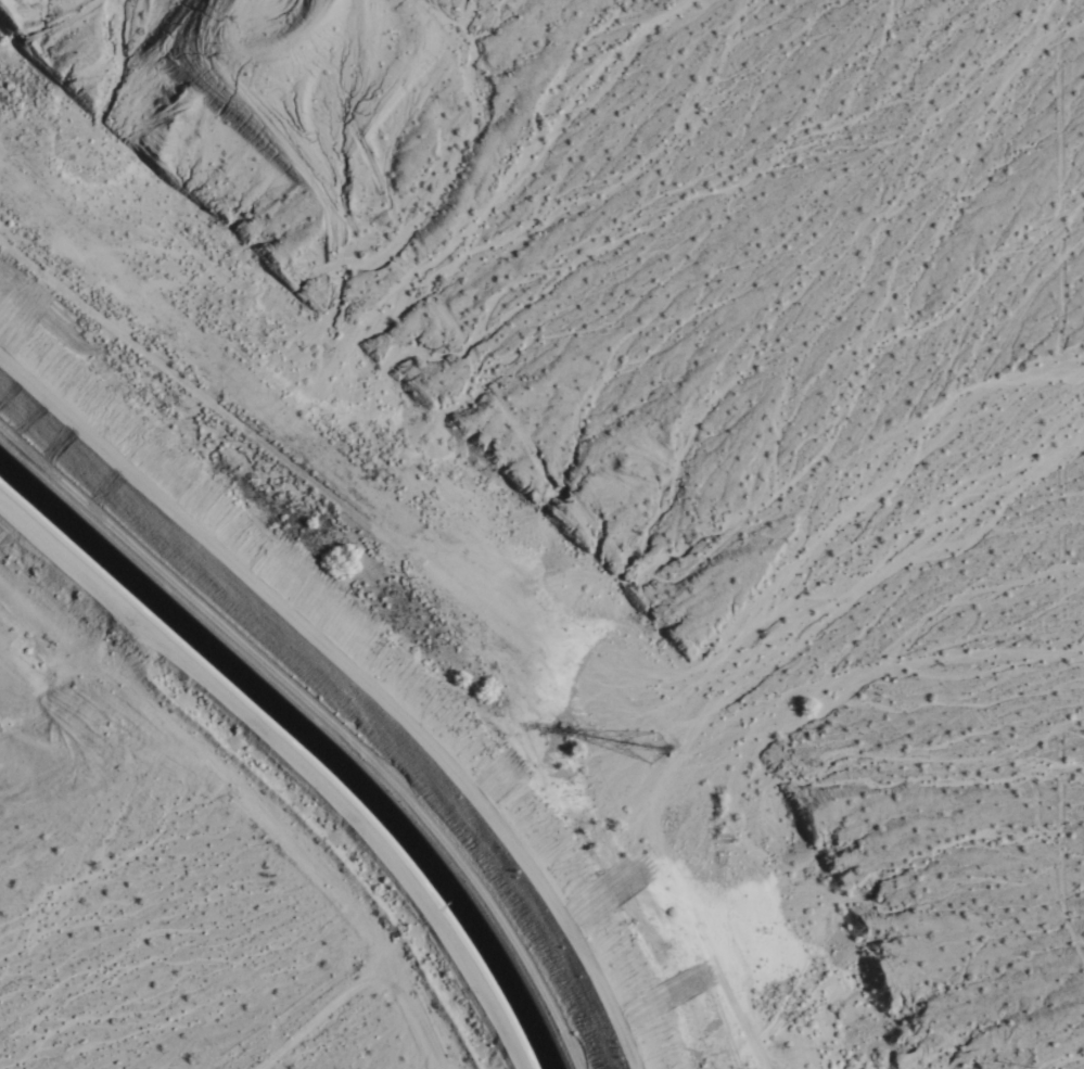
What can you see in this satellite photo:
power tower: (648, 733)
road: (306, 1027)

